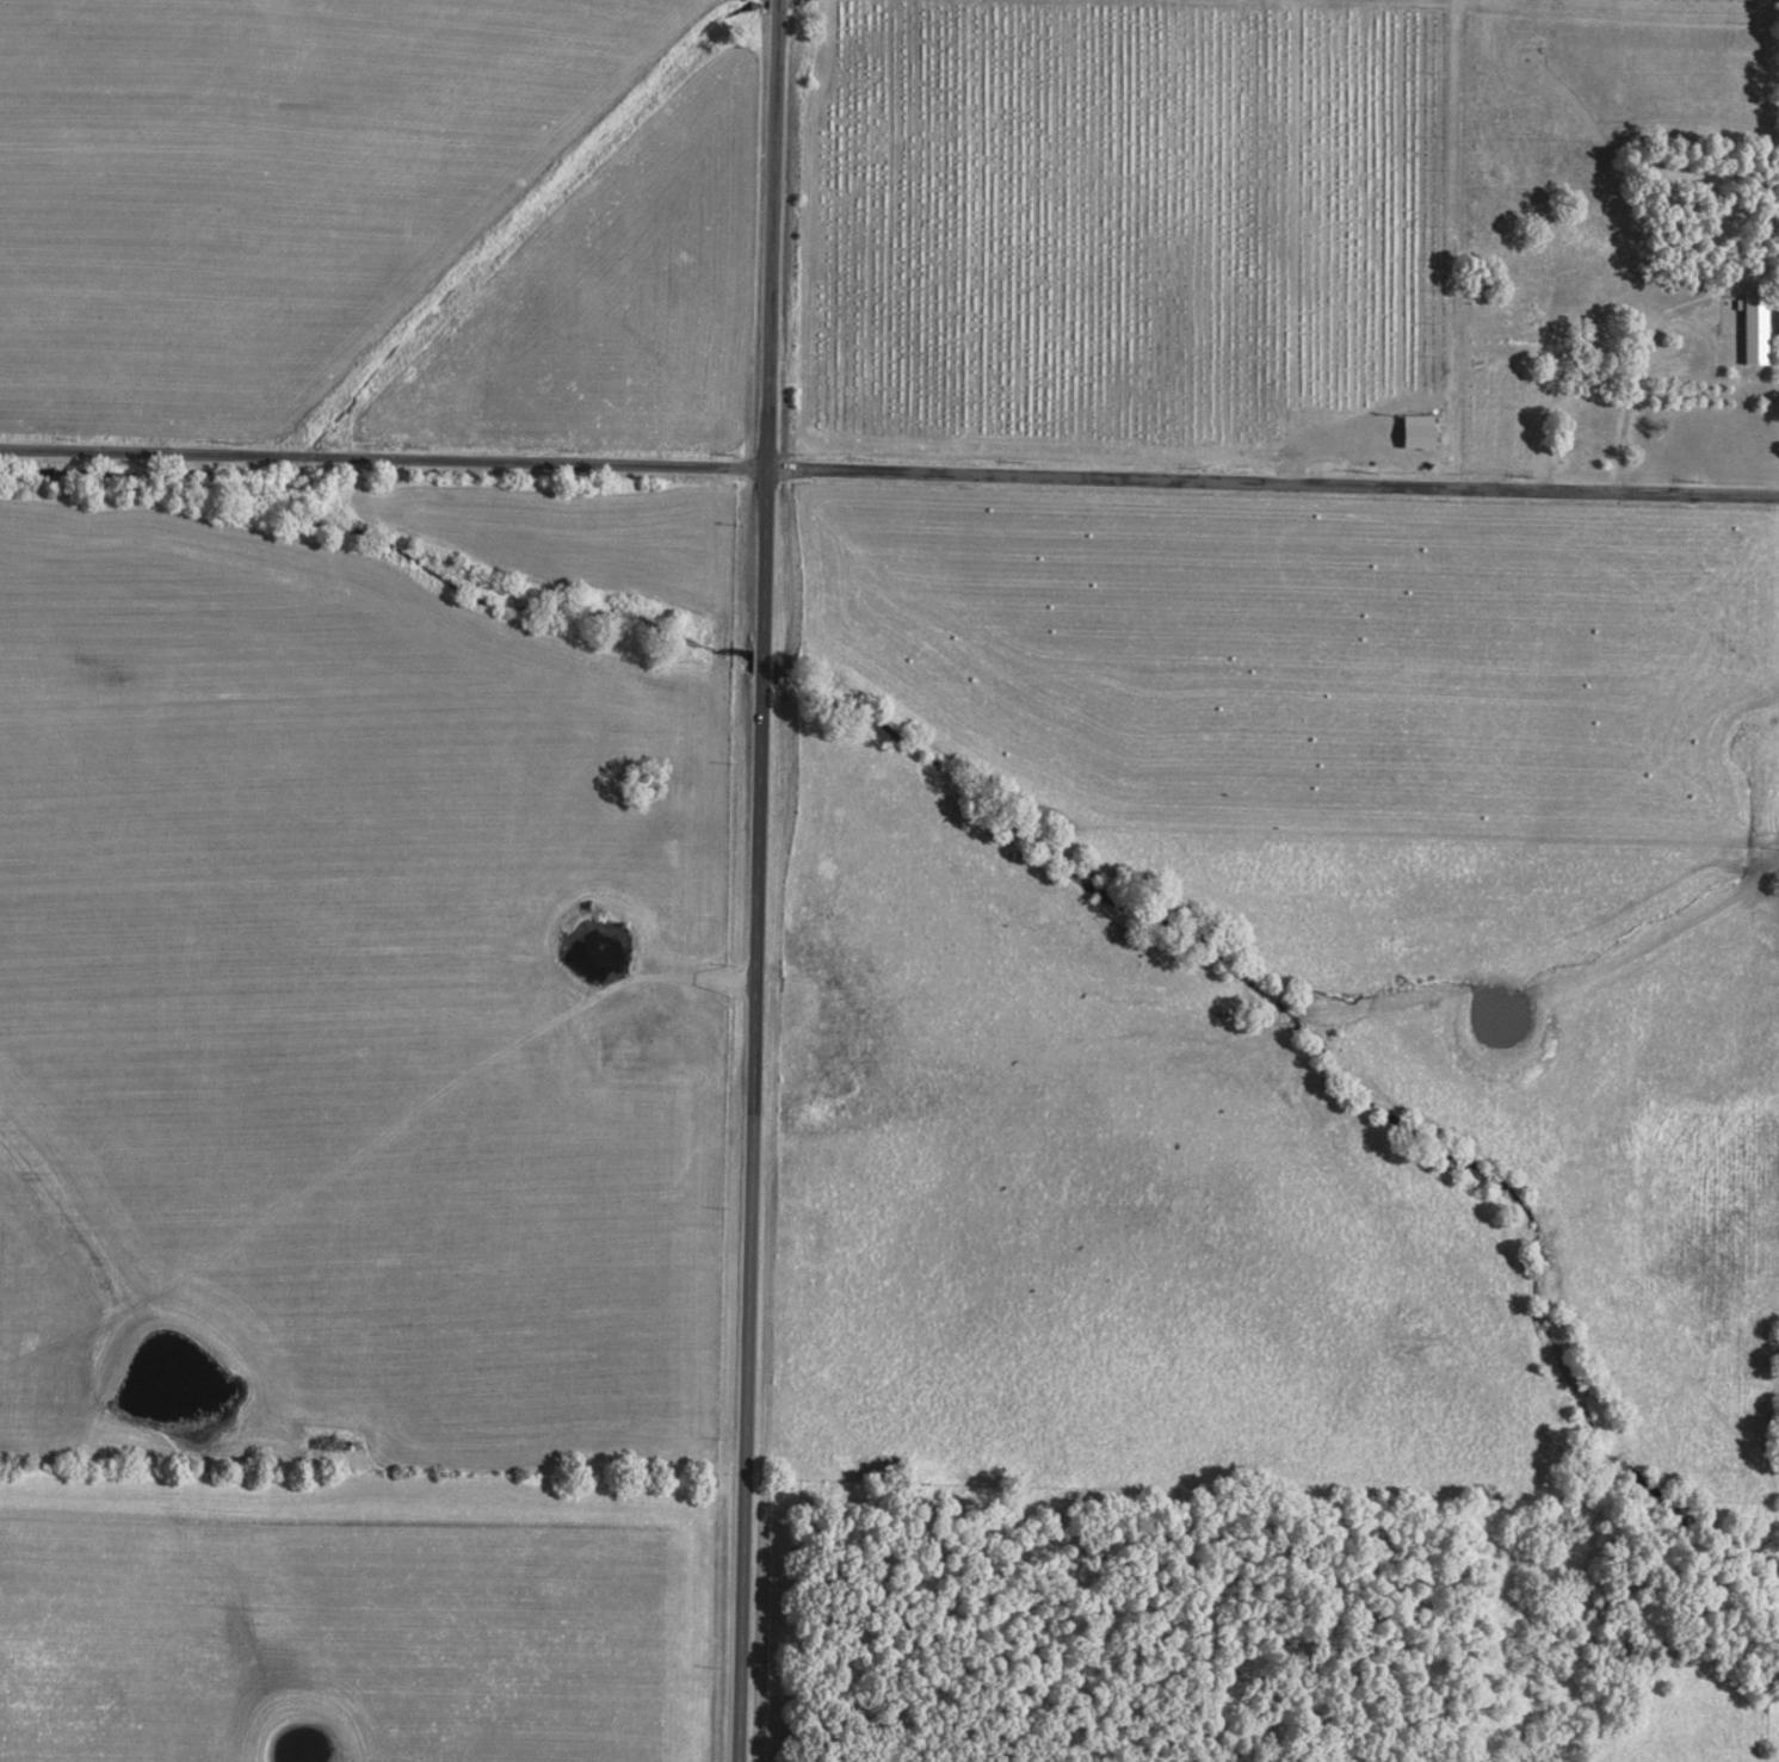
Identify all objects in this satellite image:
building: (1756, 328)
road: (1632, 387)
building: (1417, 431)
road: (889, 474)
road: (754, 880)

